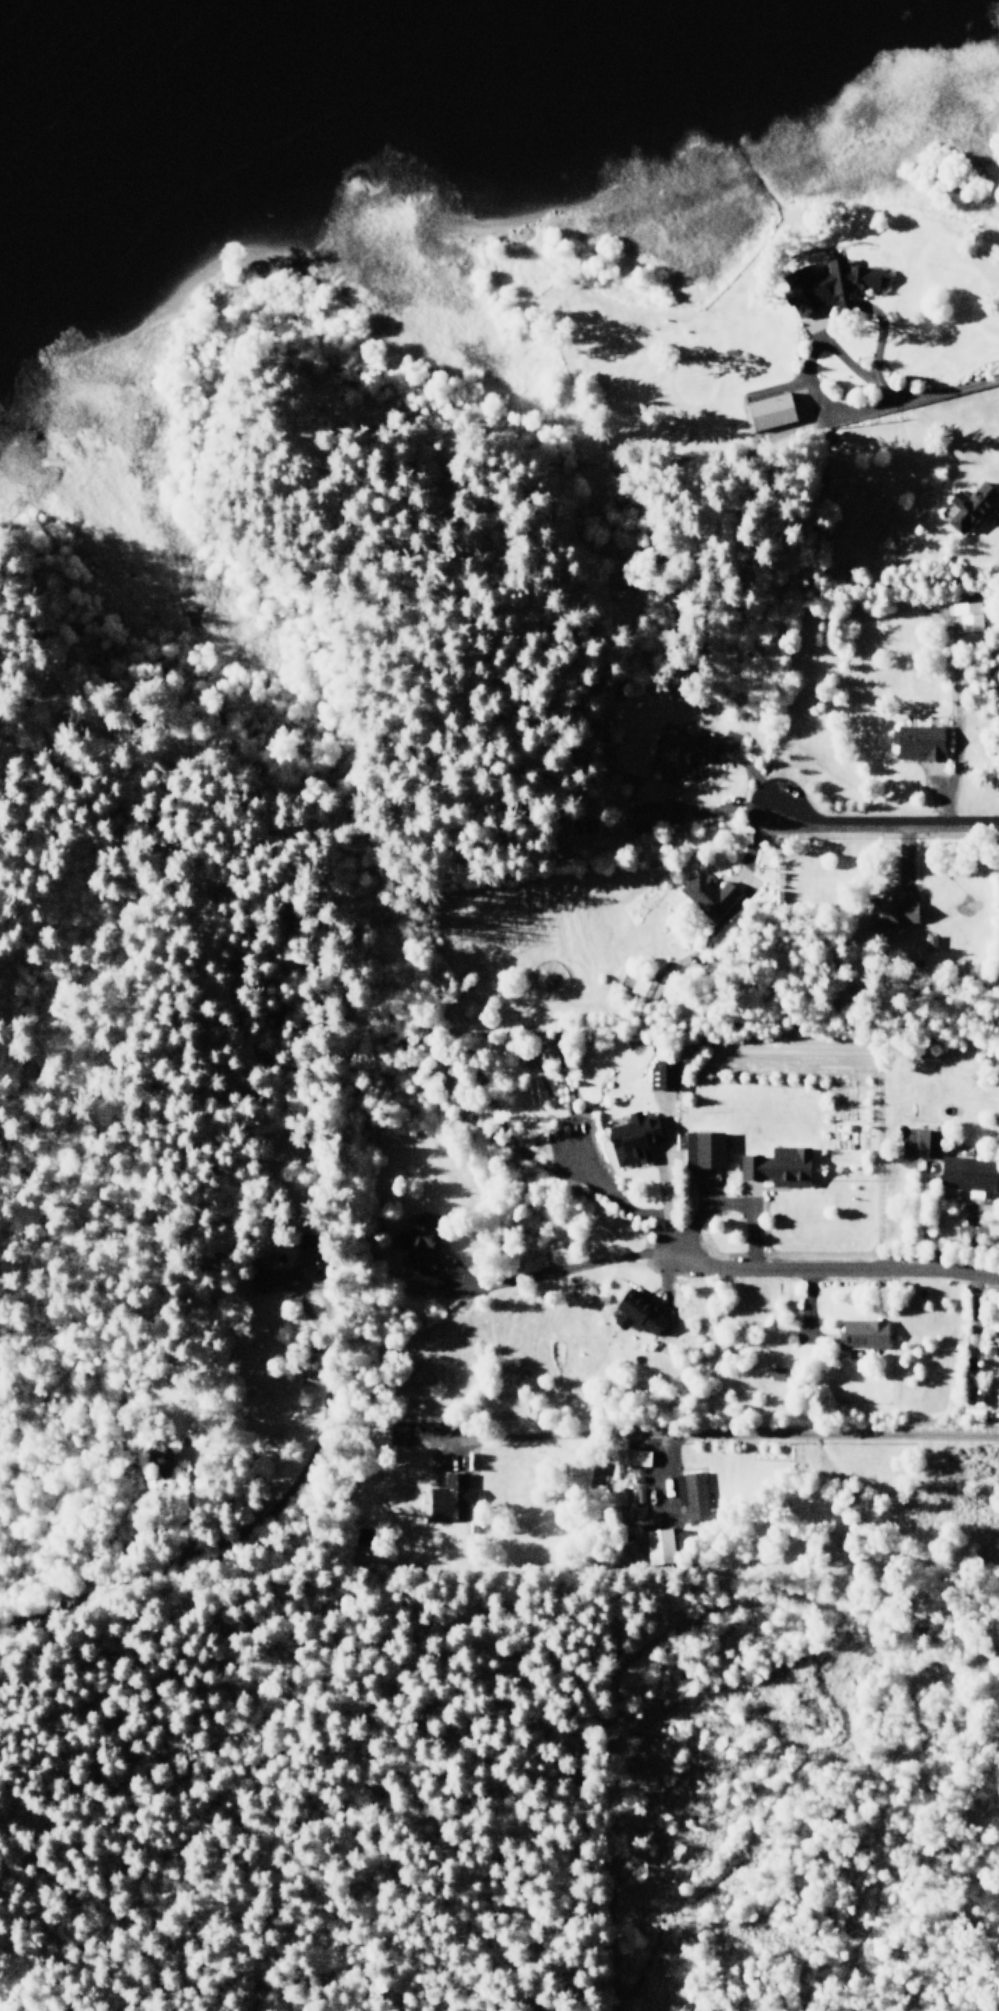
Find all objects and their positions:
building: (830, 284)
road: (825, 314)
road: (199, 325)
road: (775, 390)
road: (952, 391)
road: (804, 401)
road: (821, 407)
building: (770, 412)
building: (970, 504)
road: (997, 520)
building: (968, 618)
road: (952, 736)
building: (919, 741)
building: (677, 753)
road: (775, 810)
building: (638, 818)
road: (885, 825)
road: (124, 827)
road: (753, 844)
road: (905, 858)
building: (707, 896)
building: (891, 912)
building: (929, 941)
building: (659, 1072)
building: (631, 1136)
building: (926, 1143)
building: (709, 1147)
building: (777, 1166)
building: (966, 1172)
road: (665, 1179)
road: (709, 1192)
road: (956, 1199)
road: (747, 1201)
road: (725, 1203)
road: (914, 1213)
building: (420, 1240)
building: (304, 1262)
road: (550, 1269)
road: (836, 1269)
road: (664, 1277)
building: (918, 1292)
road: (806, 1312)
building: (636, 1313)
road: (972, 1326)
building: (863, 1333)
building: (776, 1373)
road: (726, 1433)
road: (443, 1440)
building: (635, 1457)
building: (159, 1464)
road: (657, 1472)
building: (696, 1495)
building: (451, 1497)
road: (245, 1529)
building: (658, 1547)
road: (802, 1752)

